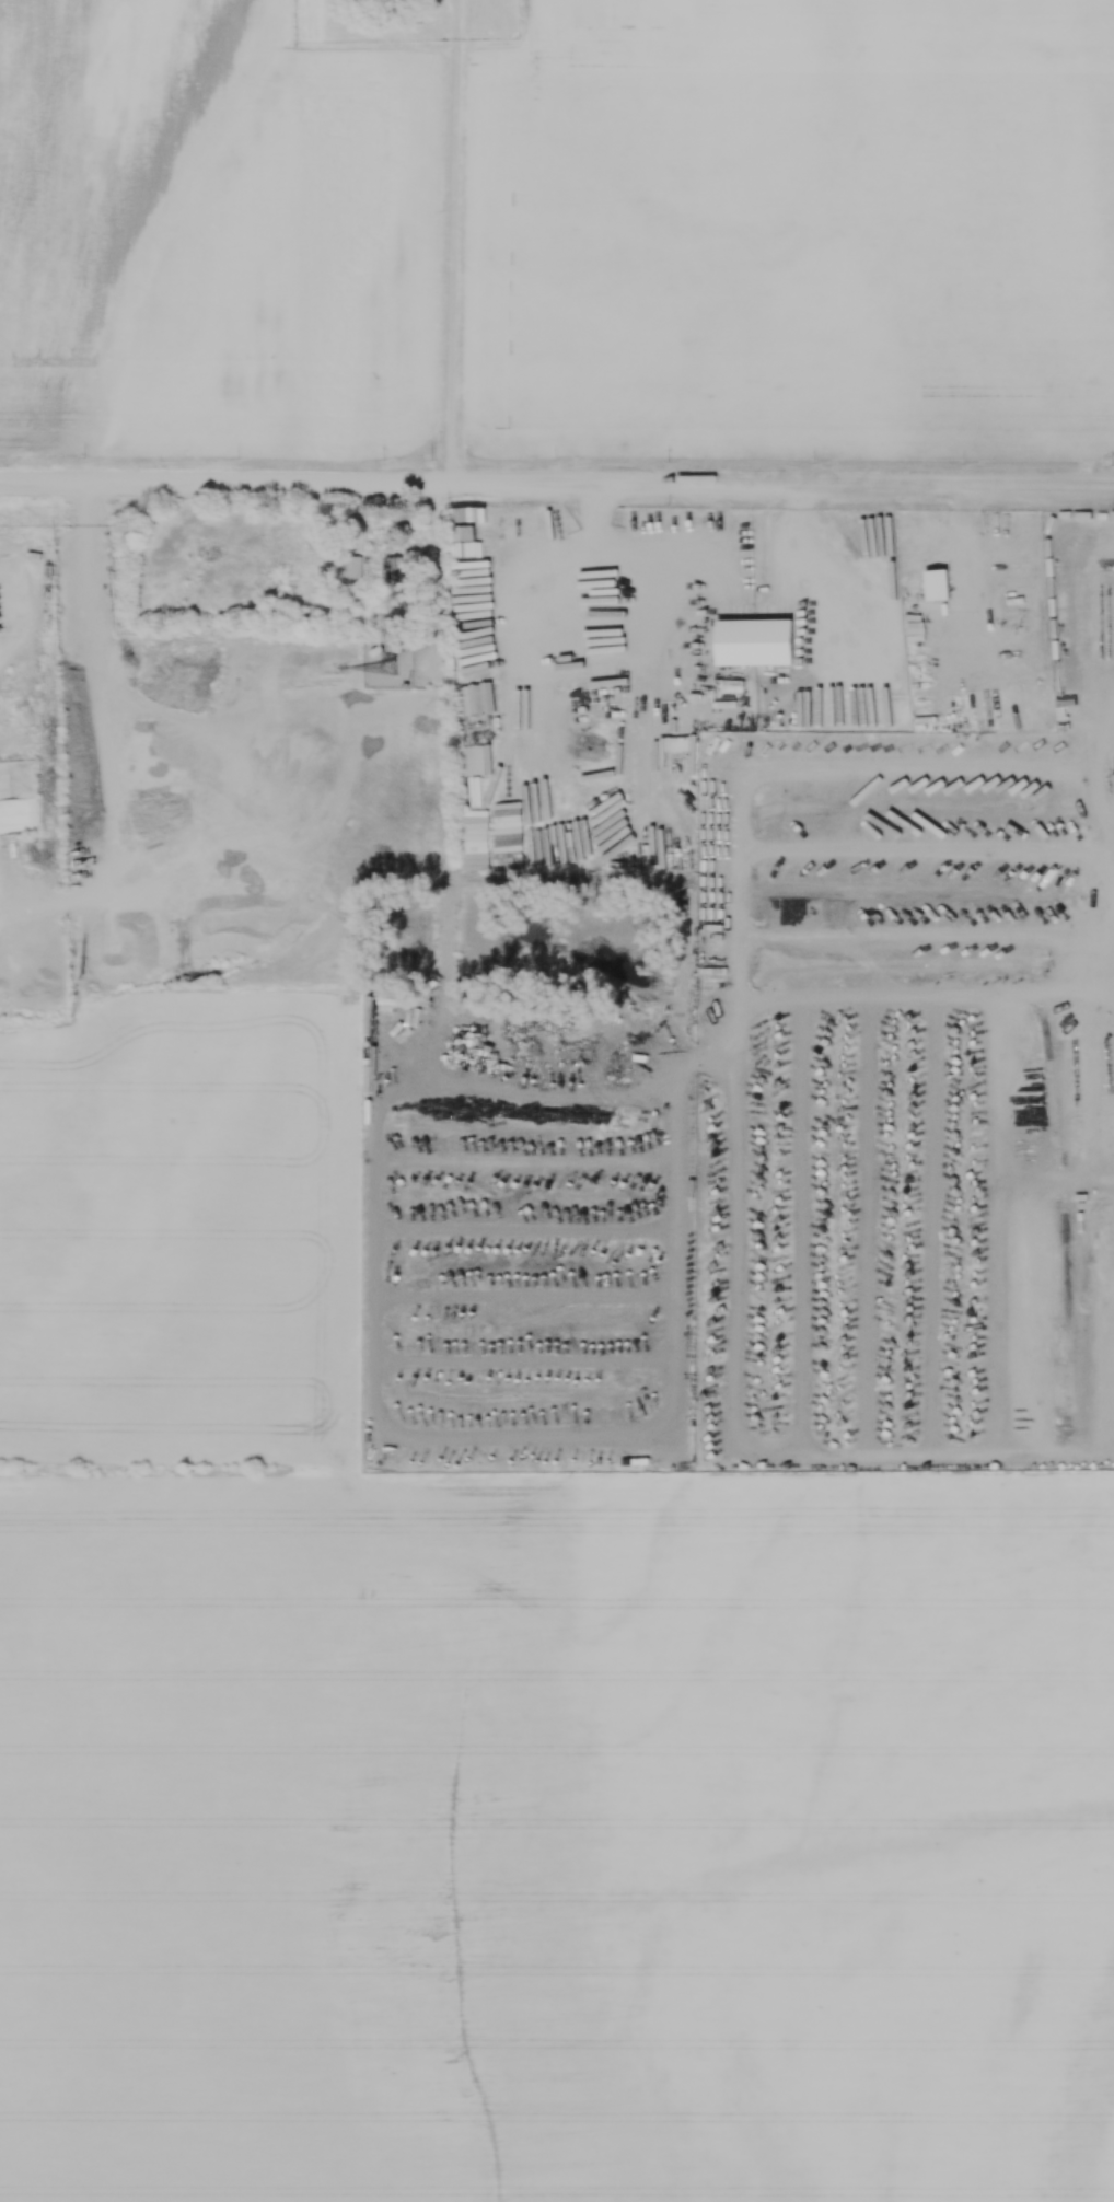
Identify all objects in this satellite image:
road: (454, 240)
road: (557, 480)
road: (1038, 533)
road: (594, 546)
road: (431, 572)
road: (968, 578)
road: (819, 769)
road: (1101, 1187)
road: (1092, 1312)

